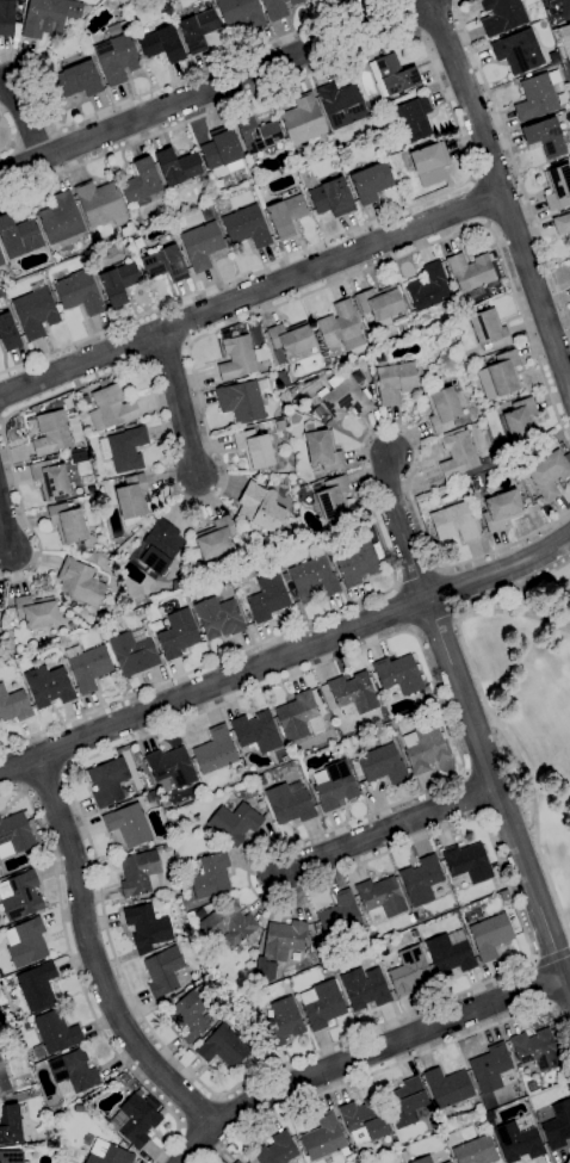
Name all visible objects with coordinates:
road: (566, 6)
building: (278, 8)
building: (241, 13)
building: (184, 14)
building: (501, 16)
building: (7, 17)
building: (49, 17)
building: (198, 30)
building: (88, 39)
building: (563, 42)
building: (161, 45)
building: (518, 51)
building: (117, 54)
building: (391, 74)
building: (78, 80)
road: (169, 83)
road: (215, 89)
building: (537, 97)
building: (341, 105)
building: (414, 118)
building: (303, 120)
road: (27, 123)
road: (458, 134)
road: (7, 135)
building: (258, 135)
building: (545, 137)
building: (222, 150)
building: (429, 163)
road: (513, 163)
building: (176, 167)
building: (141, 183)
building: (371, 183)
building: (259, 185)
building: (557, 187)
road: (503, 196)
building: (332, 198)
road: (477, 202)
building: (100, 204)
building: (205, 214)
building: (285, 215)
building: (60, 218)
building: (173, 219)
building: (562, 223)
building: (247, 227)
building: (18, 235)
building: (202, 245)
building: (1, 260)
building: (165, 264)
building: (471, 273)
building: (118, 283)
building: (429, 287)
building: (79, 292)
road: (252, 296)
building: (379, 304)
building: (35, 311)
building: (422, 321)
building: (340, 327)
building: (488, 330)
building: (8, 333)
building: (438, 335)
building: (290, 339)
building: (279, 357)
building: (238, 358)
building: (500, 376)
building: (432, 377)
building: (395, 382)
building: (297, 385)
building: (291, 390)
building: (343, 397)
building: (85, 401)
building: (241, 402)
road: (178, 403)
building: (111, 408)
building: (442, 409)
road: (200, 410)
building: (318, 410)
building: (518, 422)
building: (279, 426)
building: (51, 433)
building: (254, 449)
building: (124, 450)
building: (322, 451)
building: (460, 456)
building: (547, 474)
building: (51, 480)
building: (91, 489)
building: (132, 500)
building: (332, 501)
building: (260, 507)
building: (501, 509)
building: (454, 521)
building: (68, 525)
road: (399, 528)
road: (5, 530)
building: (216, 538)
building: (248, 538)
building: (269, 542)
building: (156, 548)
road: (385, 552)
building: (359, 561)
building: (314, 576)
building: (285, 577)
building: (79, 582)
building: (186, 590)
road: (450, 592)
building: (267, 598)
building: (73, 606)
road: (403, 608)
building: (37, 613)
road: (518, 615)
building: (218, 618)
road: (434, 621)
building: (155, 625)
building: (150, 632)
building: (178, 635)
building: (134, 651)
road: (285, 655)
building: (88, 667)
building: (398, 675)
building: (48, 686)
building: (353, 693)
building: (13, 706)
park: (527, 712)
building: (296, 716)
road: (492, 722)
building: (256, 731)
building: (423, 749)
building: (215, 751)
building: (382, 765)
building: (171, 767)
road: (63, 772)
road: (42, 778)
building: (109, 781)
building: (334, 785)
road: (21, 788)
road: (497, 797)
road: (398, 800)
building: (290, 803)
building: (260, 805)
building: (234, 823)
building: (128, 824)
road: (383, 831)
building: (14, 835)
building: (466, 864)
building: (444, 870)
building: (138, 873)
building: (211, 877)
building: (421, 880)
building: (20, 896)
building: (380, 899)
building: (200, 914)
building: (340, 916)
building: (410, 918)
building: (227, 924)
building: (147, 926)
building: (414, 935)
building: (490, 936)
building: (284, 939)
building: (25, 942)
building: (448, 954)
road: (550, 958)
road: (93, 959)
building: (324, 967)
building: (163, 971)
building: (408, 971)
road: (80, 980)
road: (539, 984)
building: (37, 986)
building: (364, 989)
building: (322, 1004)
building: (190, 1016)
building: (281, 1023)
building: (55, 1034)
road: (385, 1045)
building: (222, 1047)
building: (535, 1050)
road: (397, 1060)
building: (489, 1068)
building: (74, 1071)
building: (4, 1084)
building: (447, 1088)
road: (216, 1099)
building: (405, 1102)
road: (200, 1114)
building: (489, 1116)
building: (364, 1120)
building: (134, 1121)
building: (490, 1124)
building: (10, 1125)
road: (181, 1126)
building: (558, 1126)
building: (323, 1138)
building: (452, 1138)
building: (518, 1139)
building: (50, 1144)
road: (198, 1145)
building: (275, 1150)
building: (476, 1151)
building: (107, 1153)
building: (11, 1157)
building: (423, 1159)
building: (73, 1161)
building: (235, 1162)
building: (237, 1162)
building: (447, 1162)

